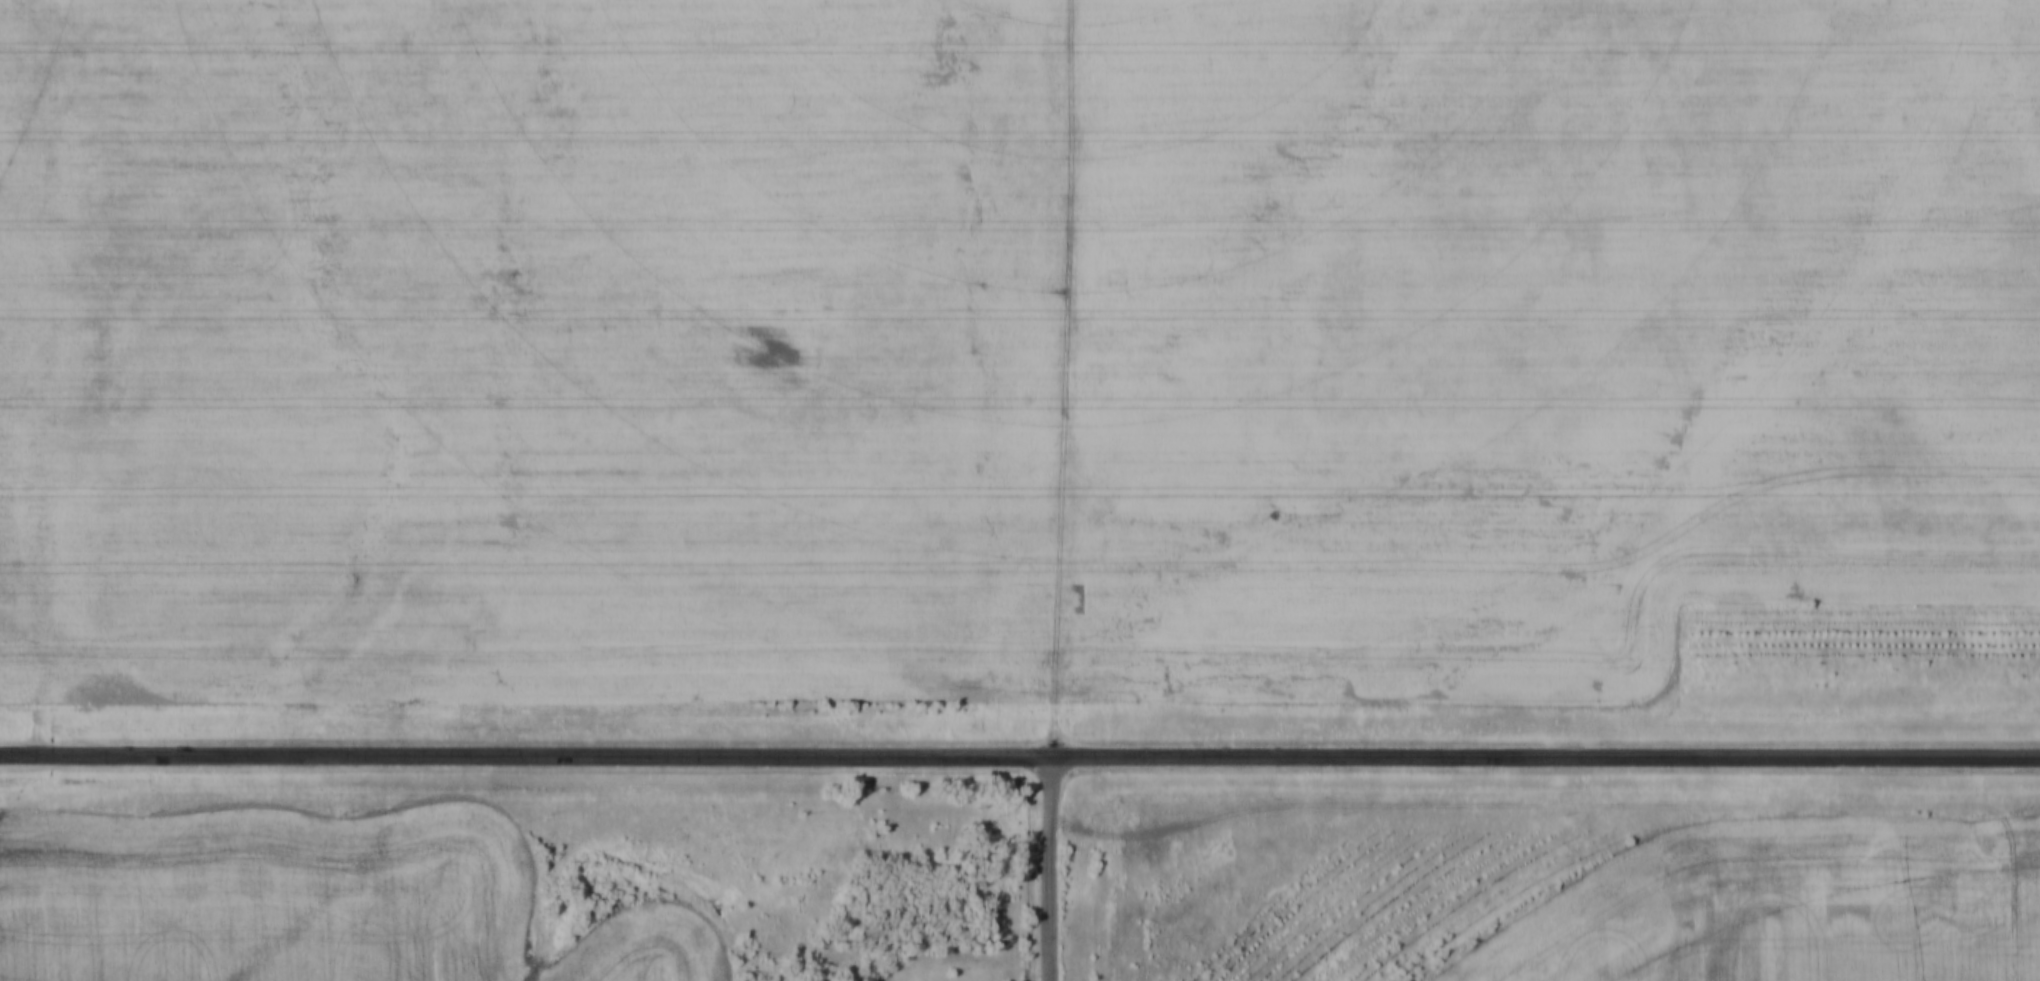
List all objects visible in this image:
crop: (999, 345)
road: (1020, 756)
road: (1051, 869)
crop: (1788, 907)

